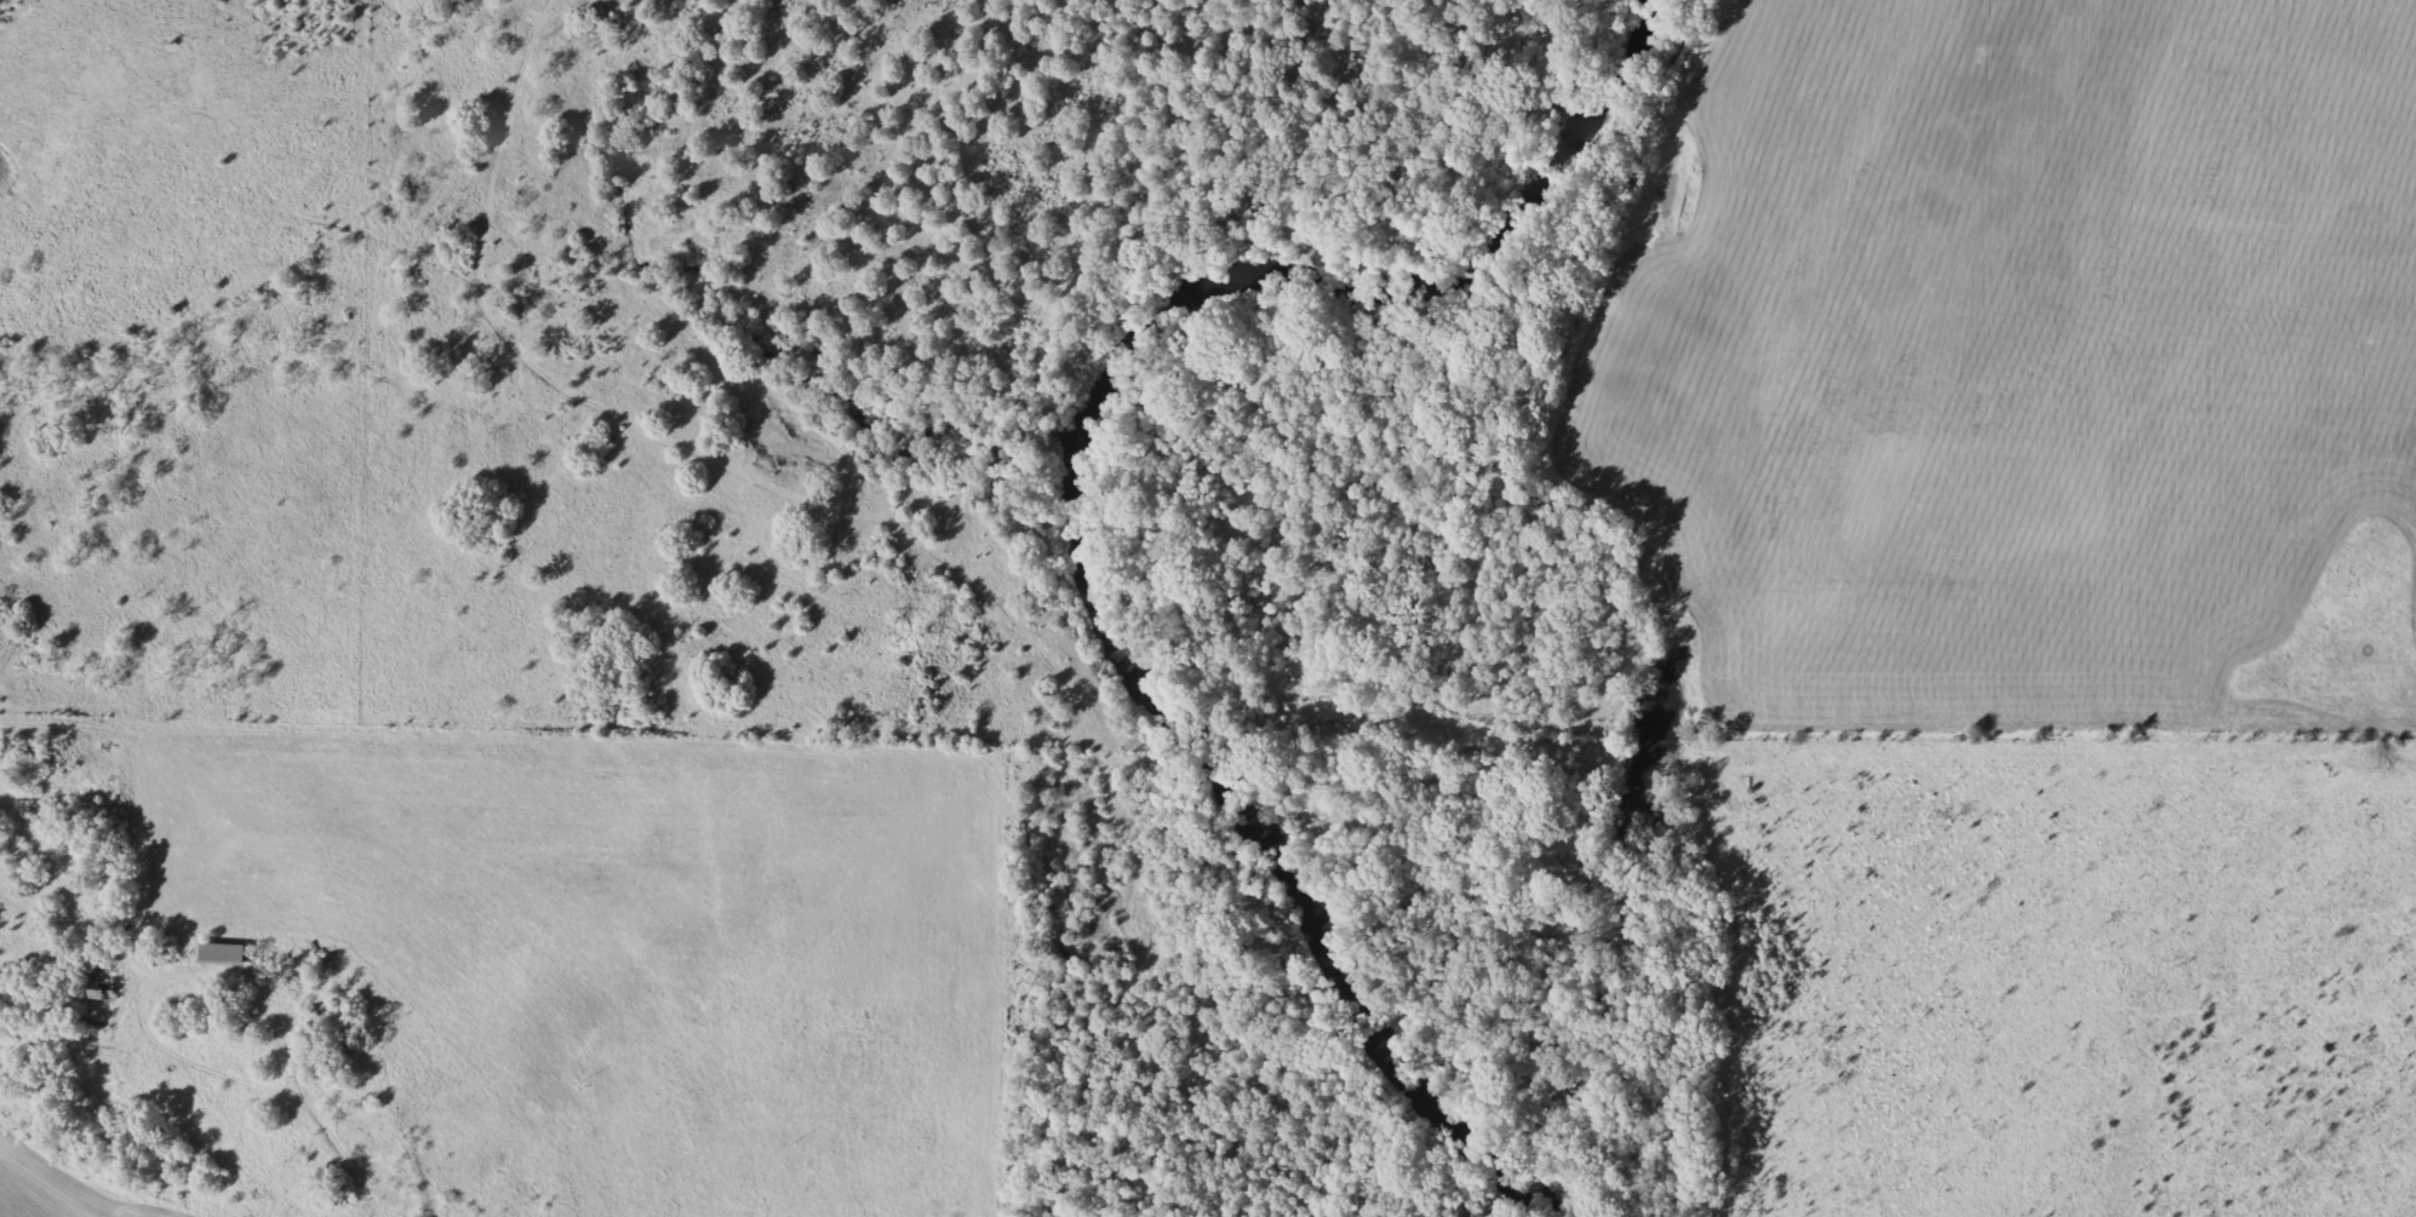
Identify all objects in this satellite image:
building: (219, 954)
road: (241, 988)
building: (99, 989)

